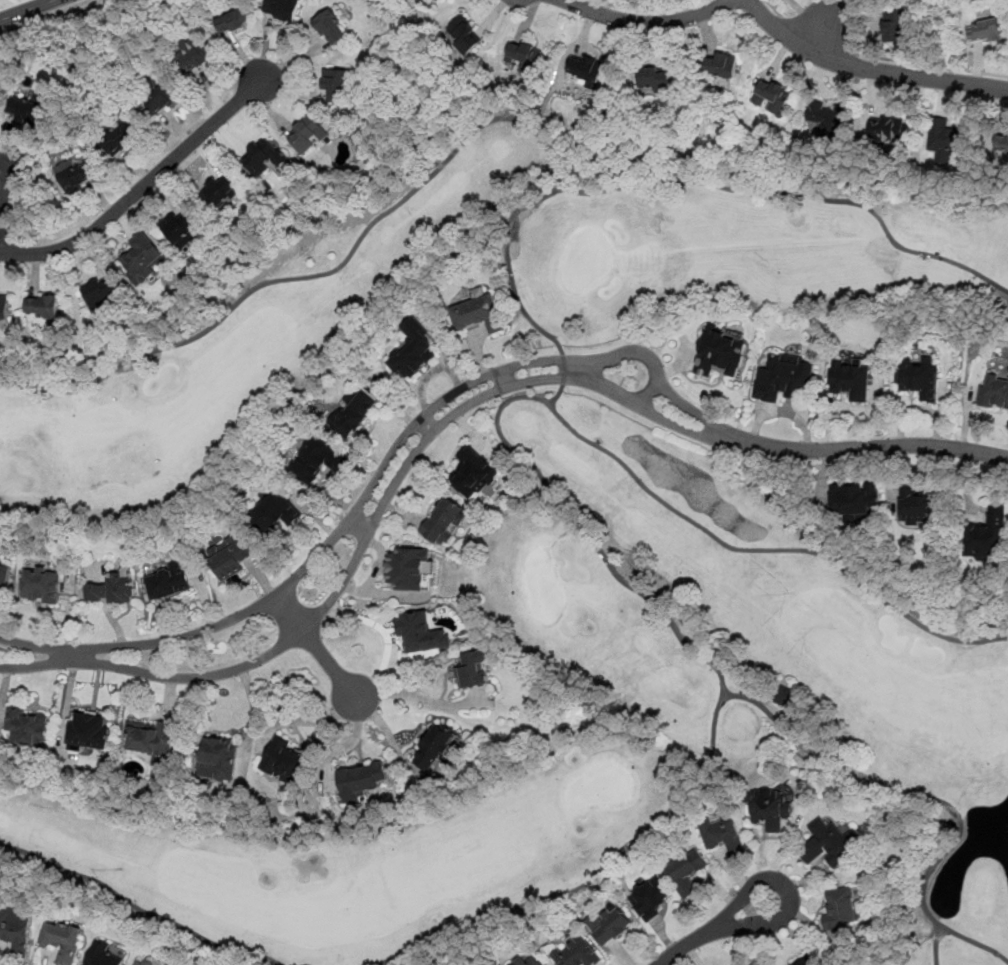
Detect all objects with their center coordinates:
building: (283, 8)
road: (773, 8)
road: (27, 10)
road: (47, 17)
building: (234, 21)
road: (647, 25)
building: (896, 26)
building: (330, 27)
building: (984, 30)
road: (816, 31)
building: (464, 35)
road: (819, 35)
building: (198, 53)
building: (525, 57)
road: (933, 65)
building: (721, 66)
building: (587, 68)
road: (868, 70)
building: (653, 79)
building: (335, 84)
building: (772, 97)
building: (163, 98)
building: (25, 111)
road: (490, 119)
building: (828, 120)
building: (887, 132)
building: (309, 134)
building: (118, 139)
building: (946, 141)
building: (1002, 143)
building: (263, 157)
building: (76, 178)
road: (141, 188)
building: (219, 192)
building: (180, 230)
building: (145, 263)
road: (506, 263)
building: (100, 294)
building: (4, 307)
building: (43, 308)
building: (478, 313)
building: (412, 350)
building: (715, 353)
road: (586, 369)
road: (504, 378)
building: (783, 379)
building: (849, 380)
building: (923, 380)
road: (651, 390)
road: (559, 393)
building: (994, 393)
building: (353, 413)
road: (429, 422)
road: (717, 433)
road: (879, 446)
building: (317, 460)
road: (380, 471)
building: (478, 474)
building: (852, 504)
building: (921, 506)
building: (274, 511)
road: (564, 511)
road: (376, 519)
building: (444, 519)
road: (359, 525)
building: (989, 537)
building: (231, 556)
park: (570, 557)
building: (407, 568)
building: (4, 579)
building: (169, 582)
building: (42, 586)
building: (112, 590)
building: (422, 634)
road: (316, 646)
road: (73, 656)
building: (473, 670)
building: (786, 696)
road: (419, 697)
road: (252, 718)
building: (28, 727)
building: (88, 733)
building: (151, 738)
building: (435, 747)
building: (222, 761)
building: (288, 763)
building: (361, 781)
road: (930, 797)
building: (774, 811)
building: (723, 834)
building: (834, 846)
building: (685, 872)
building: (656, 902)
road: (138, 905)
building: (840, 909)
building: (613, 926)
road: (715, 929)
building: (15, 934)
building: (66, 938)
building: (577, 953)
building: (102, 956)
building: (149, 961)
building: (533, 962)
building: (801, 962)
building: (810, 964)

